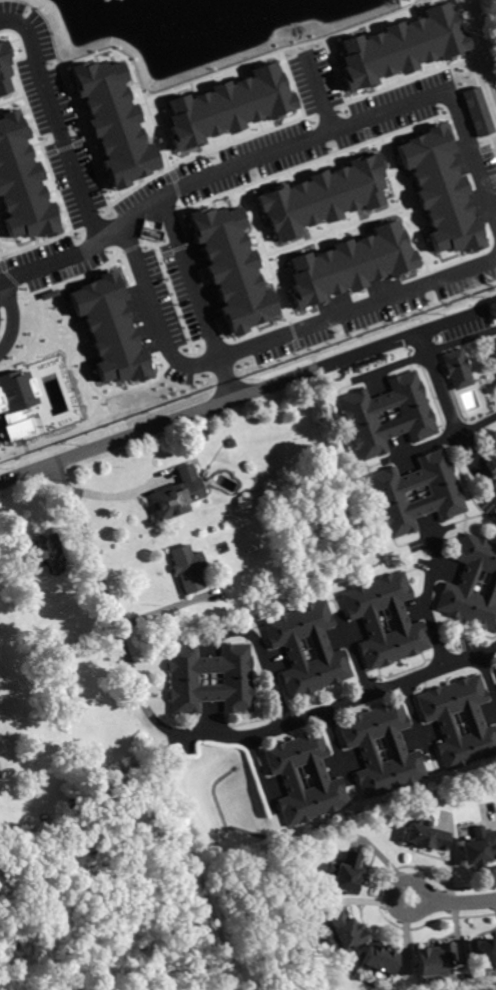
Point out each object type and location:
building: (400, 47)
building: (3, 67)
building: (228, 106)
building: (476, 111)
building: (113, 122)
road: (55, 123)
road: (337, 131)
building: (21, 184)
building: (439, 191)
building: (322, 196)
road: (61, 258)
building: (349, 265)
building: (231, 268)
road: (189, 278)
road: (8, 321)
building: (108, 329)
road: (270, 343)
building: (493, 349)
building: (458, 369)
road: (224, 380)
building: (16, 403)
road: (210, 405)
building: (417, 417)
road: (452, 417)
road: (477, 426)
road: (424, 446)
building: (445, 494)
building: (174, 497)
building: (35, 551)
building: (186, 569)
building: (472, 585)
road: (428, 599)
road: (106, 608)
building: (399, 620)
building: (290, 648)
road: (352, 666)
building: (495, 666)
road: (264, 679)
building: (235, 680)
road: (341, 705)
road: (415, 720)
building: (474, 722)
building: (396, 752)
building: (288, 779)
building: (73, 822)
building: (424, 835)
building: (477, 852)
building: (345, 874)
road: (452, 902)
building: (342, 929)
building: (480, 955)
building: (378, 960)
building: (432, 960)

